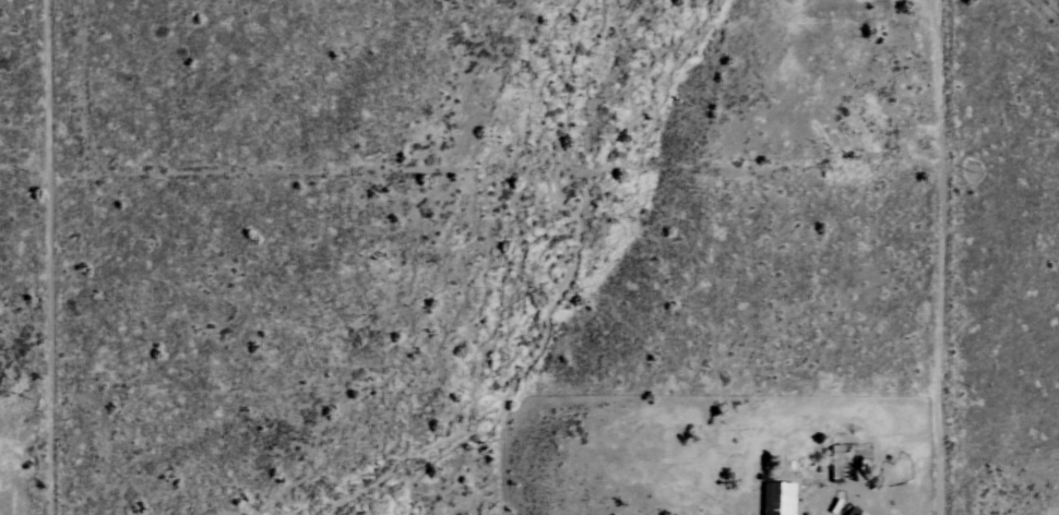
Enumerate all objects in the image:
road: (940, 256)
road: (40, 257)

